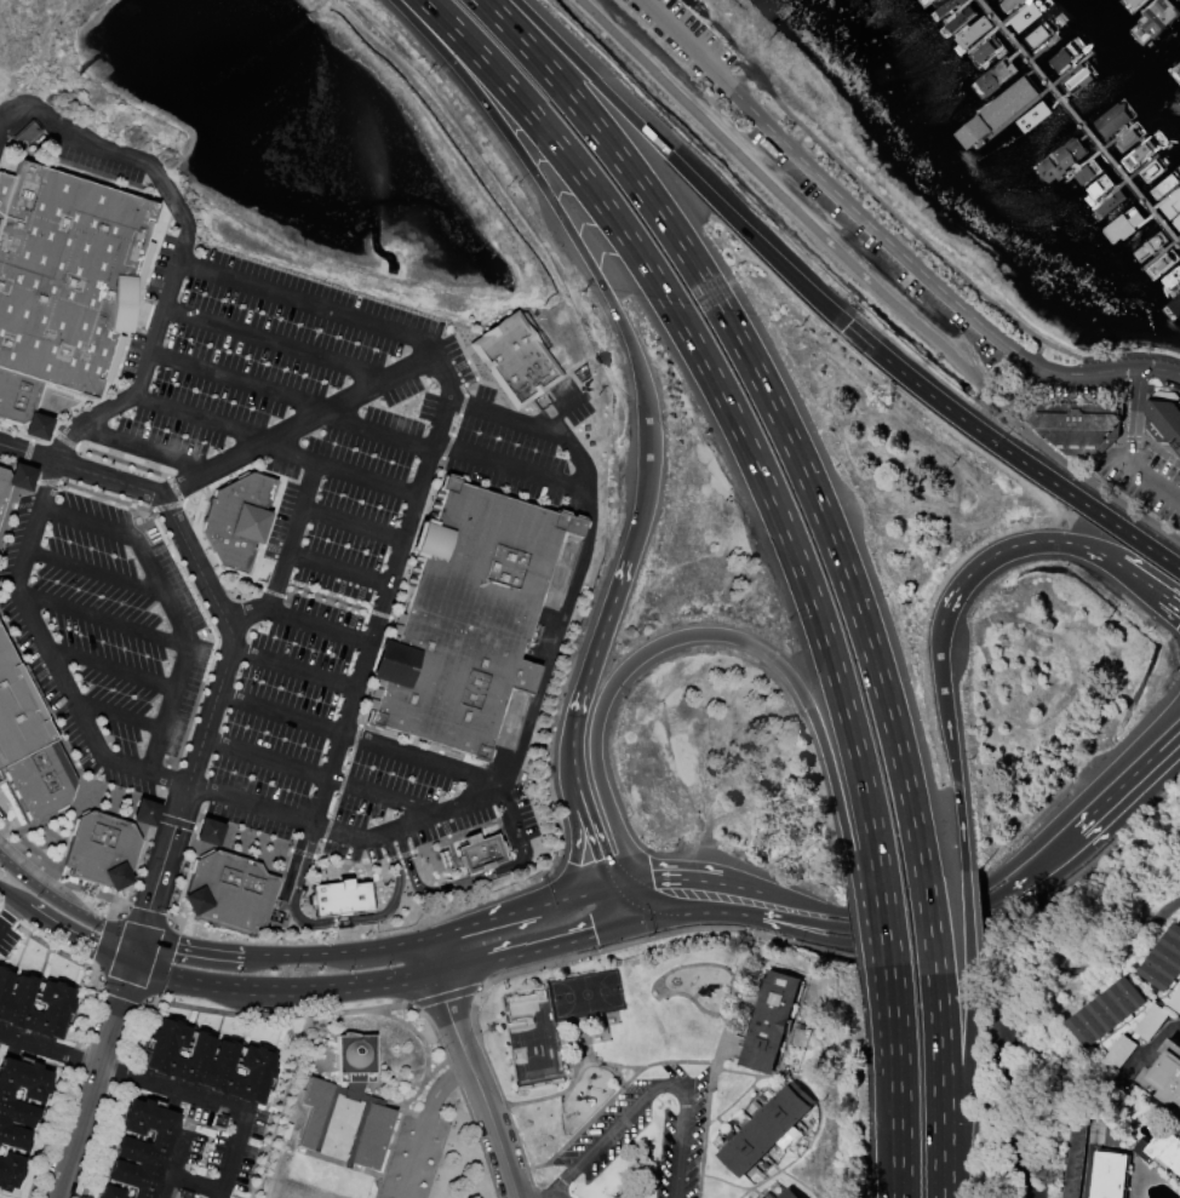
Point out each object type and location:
building: (930, 0)
building: (1010, 4)
building: (1134, 4)
building: (946, 6)
building: (1026, 16)
building: (1158, 16)
building: (958, 17)
building: (972, 31)
building: (1038, 34)
building: (983, 51)
building: (1064, 57)
building: (1178, 67)
building: (992, 78)
building: (1078, 79)
building: (997, 111)
building: (1032, 115)
building: (1113, 116)
pier: (1077, 120)
building: (25, 133)
building: (1129, 138)
road: (107, 149)
building: (1139, 151)
building: (1060, 157)
road: (677, 162)
building: (1151, 168)
building: (1087, 171)
building: (1100, 184)
building: (1164, 184)
building: (1109, 204)
building: (1172, 204)
building: (1176, 222)
building: (1122, 223)
road: (887, 239)
building: (1147, 246)
road: (588, 259)
building: (1162, 262)
building: (64, 274)
building: (1173, 277)
road: (870, 282)
building: (1173, 305)
road: (344, 314)
road: (144, 315)
road: (121, 340)
road: (274, 343)
building: (514, 360)
road: (405, 368)
building: (16, 396)
road: (292, 396)
road: (556, 408)
building: (1163, 419)
road: (457, 420)
building: (1077, 425)
building: (35, 426)
road: (533, 428)
road: (52, 432)
road: (29, 438)
road: (63, 438)
road: (269, 438)
road: (31, 441)
road: (1133, 443)
road: (142, 448)
road: (273, 448)
road: (1008, 451)
road: (28, 453)
road: (1163, 460)
road: (121, 462)
road: (508, 466)
road: (81, 470)
road: (17, 475)
road: (228, 476)
building: (19, 477)
road: (763, 478)
road: (47, 482)
building: (2, 483)
road: (174, 489)
road: (11, 501)
road: (167, 505)
road: (189, 505)
road: (151, 511)
building: (236, 518)
road: (351, 523)
road: (1008, 546)
road: (836, 551)
parking lot: (267, 555)
road: (285, 555)
building: (483, 558)
road: (337, 568)
road: (94, 572)
road: (1139, 579)
road: (399, 591)
road: (273, 592)
road: (191, 595)
road: (321, 596)
road: (1172, 600)
road: (168, 606)
road: (1172, 608)
road: (379, 614)
road: (389, 617)
road: (102, 619)
traffic signals: (1179, 621)
road: (376, 623)
road: (314, 626)
road: (230, 635)
road: (552, 642)
road: (774, 659)
road: (592, 660)
road: (109, 667)
road: (292, 669)
road: (62, 678)
building: (445, 682)
road: (39, 697)
building: (18, 711)
road: (116, 713)
road: (1170, 729)
road: (1170, 744)
road: (386, 747)
road: (320, 775)
road: (164, 776)
building: (40, 780)
road: (340, 783)
road: (577, 783)
road: (1104, 807)
building: (143, 812)
road: (51, 814)
road: (1121, 818)
road: (176, 822)
building: (207, 832)
road: (67, 837)
road: (453, 837)
road: (575, 841)
building: (101, 849)
road: (319, 850)
road: (302, 853)
building: (479, 853)
road: (397, 855)
road: (601, 856)
traffic signals: (602, 858)
road: (162, 861)
road: (293, 864)
road: (353, 864)
traffic signals: (573, 864)
road: (50, 870)
road: (1010, 871)
road: (1024, 873)
road: (447, 887)
building: (228, 890)
road: (8, 894)
road: (583, 894)
road: (990, 894)
road: (682, 896)
road: (1019, 896)
building: (339, 898)
traffic signals: (655, 899)
road: (751, 902)
road: (64, 907)
road: (807, 908)
traffic signals: (148, 911)
road: (10, 912)
road: (967, 913)
road: (144, 917)
road: (808, 919)
road: (334, 921)
road: (481, 921)
road: (807, 930)
traffic signals: (595, 934)
road: (73, 936)
road: (105, 945)
traffic signals: (96, 948)
traffic signals: (176, 948)
road: (538, 948)
road: (133, 952)
road: (210, 953)
road: (356, 953)
road: (433, 957)
road: (160, 961)
building: (1164, 961)
road: (122, 990)
road: (281, 991)
road: (1003, 991)
park: (585, 992)
road: (443, 996)
traffic signals: (120, 998)
parking lot: (254, 999)
building: (33, 1007)
road: (445, 1007)
building: (1106, 1010)
building: (768, 1020)
park: (601, 1027)
road: (728, 1027)
building: (206, 1061)
road: (629, 1066)
building: (1165, 1072)
road: (92, 1082)
road: (567, 1085)
road: (162, 1087)
road: (636, 1088)
road: (648, 1091)
building: (315, 1102)
road: (605, 1102)
building: (17, 1112)
road: (491, 1117)
road: (423, 1123)
road: (901, 1123)
building: (763, 1130)
building: (789, 1137)
parking lot: (636, 1141)
building: (1161, 1146)
building: (139, 1151)
building: (1073, 1159)
road: (171, 1164)
road: (689, 1164)
road: (1088, 1173)
building: (1109, 1174)
road: (195, 1182)
building: (787, 1193)
road: (548, 1197)

